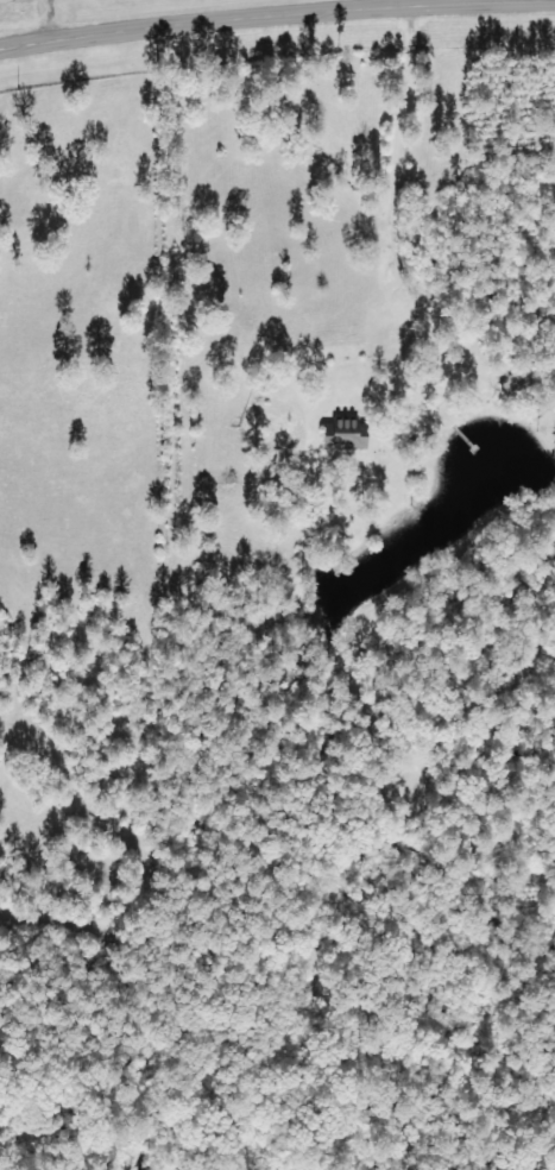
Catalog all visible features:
road: (248, 15)
building: (361, 432)

